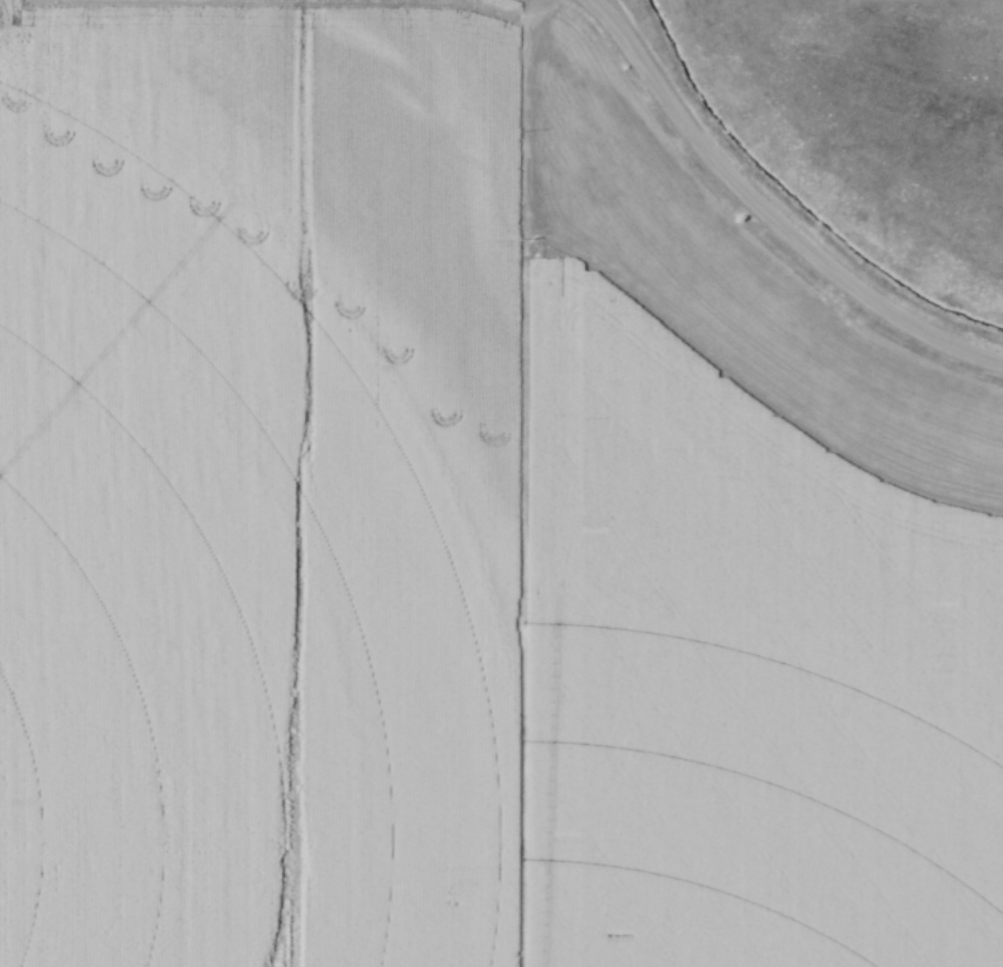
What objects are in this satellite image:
road: (765, 217)

